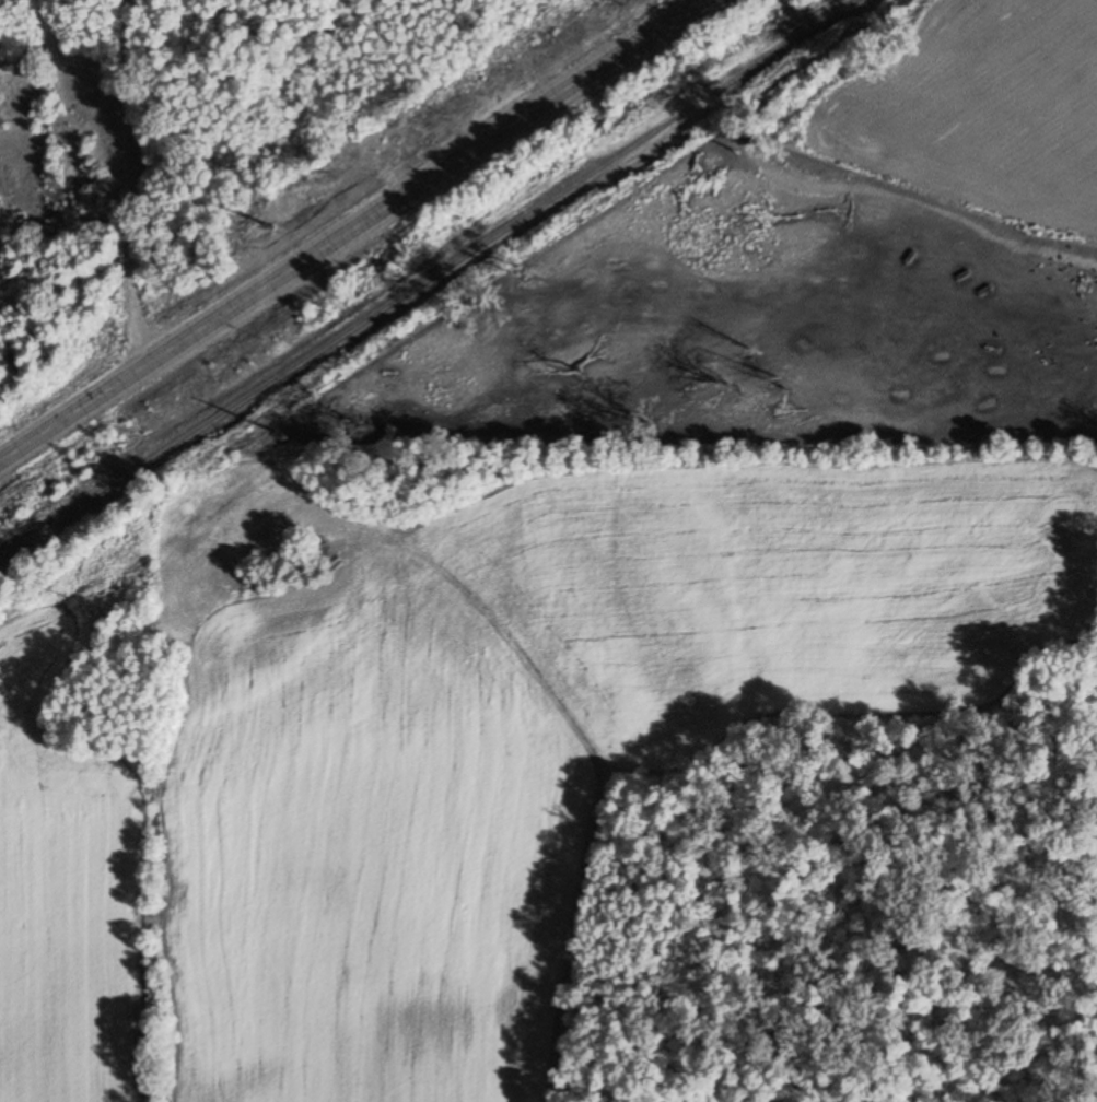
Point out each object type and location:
road: (351, 230)
railway: (428, 281)

